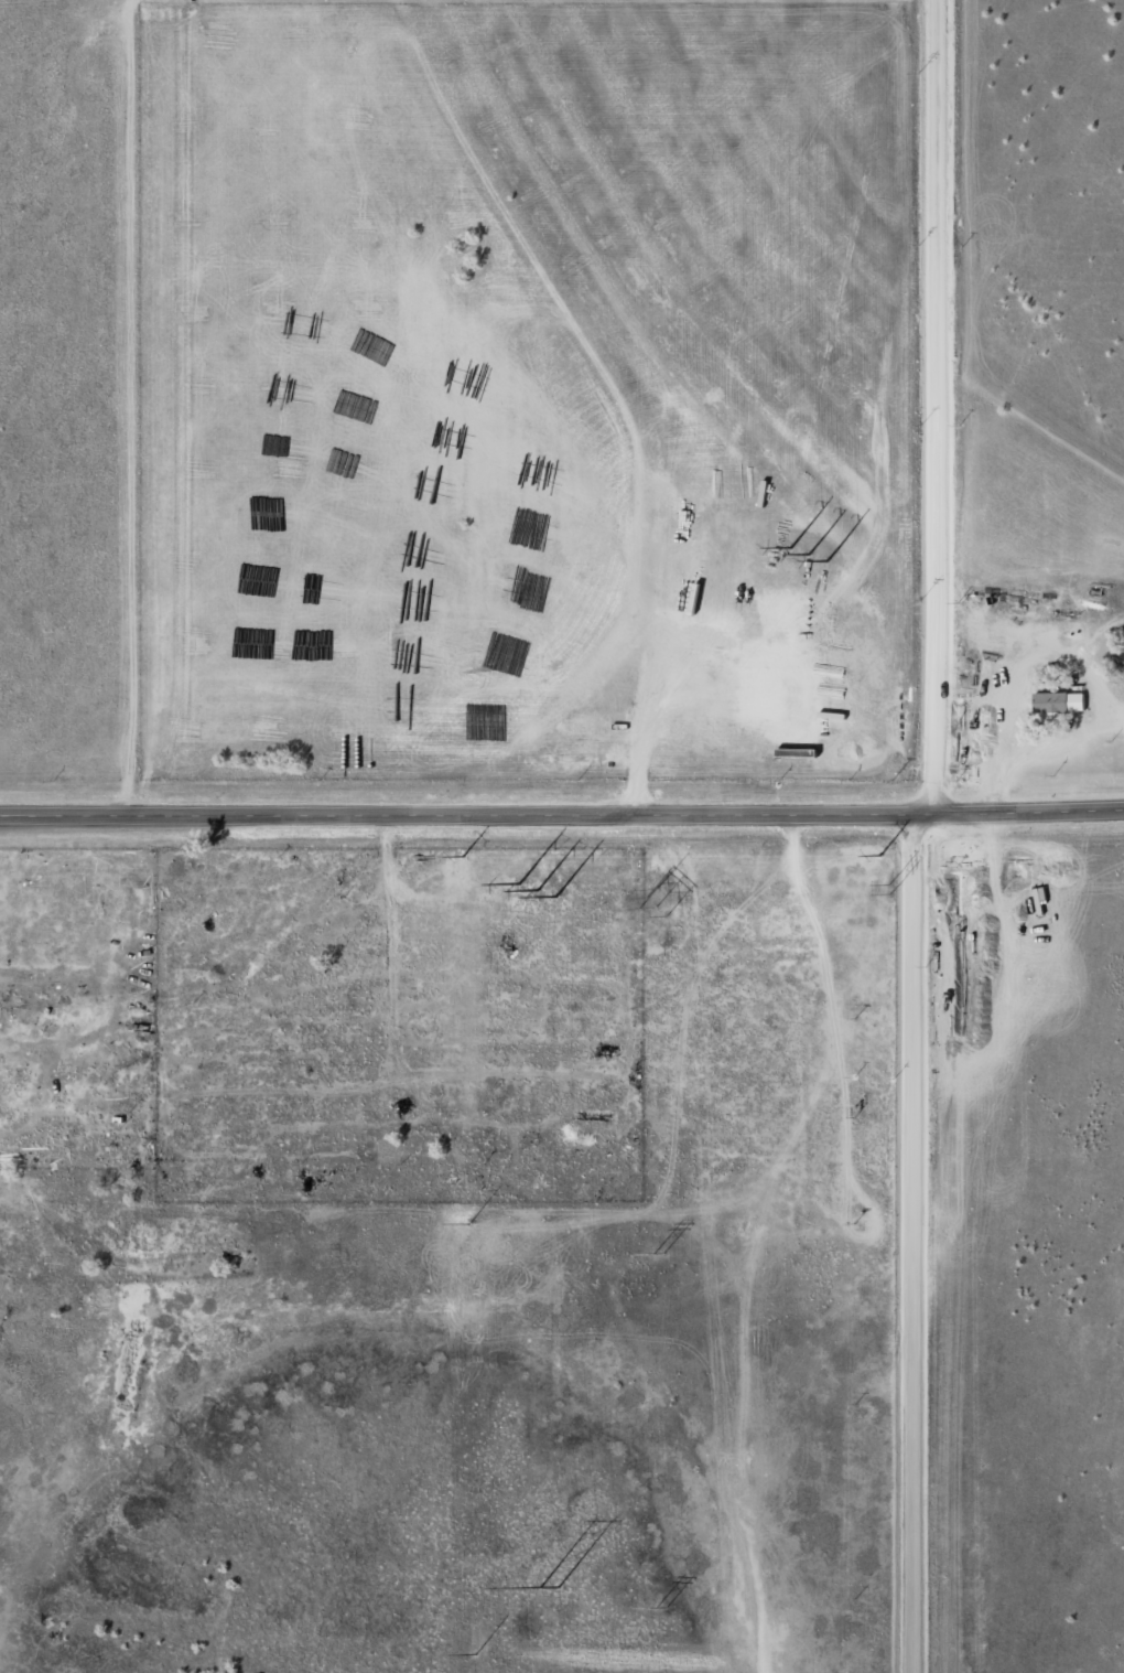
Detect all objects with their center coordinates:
power tower: (809, 554)
building: (1057, 704)
road: (562, 815)
road: (922, 836)
power tower: (893, 889)
power tower: (538, 890)
power tower: (658, 901)
power tower: (743, 1230)
power tower: (660, 1253)
power tower: (553, 1588)
power tower: (662, 1610)

